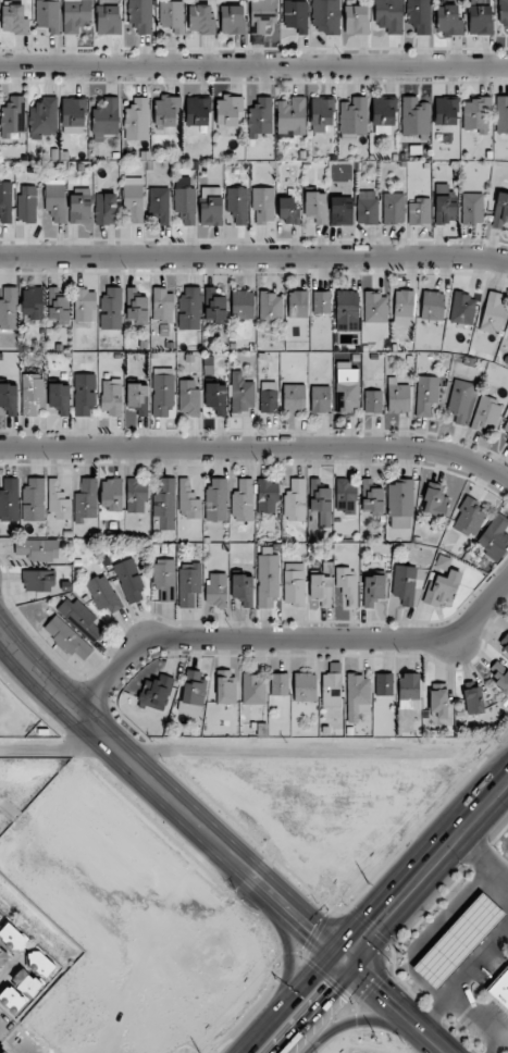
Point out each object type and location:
building: (503, 12)
building: (48, 15)
building: (76, 15)
building: (140, 15)
building: (172, 15)
building: (262, 15)
building: (296, 15)
building: (388, 15)
building: (419, 15)
building: (325, 16)
building: (108, 17)
building: (480, 17)
building: (200, 18)
building: (14, 20)
building: (232, 20)
building: (356, 20)
building: (448, 20)
road: (253, 64)
building: (228, 110)
building: (166, 111)
building: (197, 111)
building: (446, 112)
building: (321, 113)
building: (501, 114)
building: (74, 115)
building: (354, 115)
building: (383, 115)
building: (476, 115)
building: (12, 116)
building: (292, 116)
building: (414, 116)
building: (44, 117)
building: (260, 117)
building: (106, 119)
building: (137, 120)
building: (133, 198)
building: (54, 200)
building: (5, 202)
building: (444, 202)
building: (27, 203)
building: (237, 203)
building: (160, 205)
building: (185, 205)
building: (211, 206)
building: (263, 206)
building: (315, 206)
building: (80, 207)
building: (367, 207)
building: (106, 208)
building: (393, 208)
building: (472, 208)
building: (340, 210)
building: (500, 210)
building: (287, 211)
building: (419, 211)
road: (253, 258)
building: (321, 301)
building: (33, 302)
building: (59, 305)
building: (84, 305)
building: (243, 305)
building: (297, 305)
building: (347, 305)
building: (163, 306)
building: (215, 306)
building: (432, 306)
building: (271, 307)
building: (9, 308)
building: (111, 308)
building: (136, 308)
building: (189, 308)
building: (375, 308)
building: (404, 308)
building: (462, 309)
building: (493, 312)
building: (347, 387)
building: (162, 392)
building: (32, 393)
building: (84, 394)
building: (426, 394)
building: (241, 395)
building: (397, 396)
building: (59, 397)
building: (111, 397)
building: (215, 397)
building: (268, 397)
building: (137, 398)
building: (188, 398)
building: (294, 398)
building: (320, 399)
building: (8, 400)
building: (460, 400)
building: (373, 401)
building: (486, 414)
building: (506, 426)
building: (507, 443)
road: (257, 448)
building: (111, 494)
building: (136, 495)
building: (268, 495)
building: (346, 496)
building: (372, 496)
building: (216, 498)
building: (9, 499)
building: (34, 499)
building: (86, 500)
building: (188, 500)
building: (243, 500)
building: (295, 500)
building: (434, 500)
building: (320, 501)
building: (165, 504)
building: (400, 504)
building: (468, 518)
building: (494, 537)
building: (38, 548)
building: (164, 578)
building: (38, 580)
building: (129, 581)
building: (268, 581)
building: (189, 583)
building: (294, 583)
building: (347, 584)
building: (406, 584)
building: (443, 587)
building: (216, 590)
building: (243, 590)
building: (321, 590)
building: (373, 590)
building: (103, 594)
building: (79, 618)
building: (67, 637)
road: (288, 641)
building: (504, 642)
building: (499, 676)
building: (278, 684)
building: (384, 684)
building: (332, 685)
building: (225, 686)
building: (305, 686)
building: (253, 689)
building: (409, 691)
building: (193, 692)
building: (156, 693)
building: (357, 696)
building: (437, 699)
building: (473, 701)
road: (234, 750)
road: (169, 801)
road: (483, 858)
road: (424, 874)
power tower: (365, 883)
building: (0, 916)
road: (27, 922)
building: (12, 937)
building: (459, 941)
gas station: (459, 941)
building: (3, 956)
building: (39, 963)
traffic signals: (340, 965)
road: (462, 978)
road: (285, 986)
road: (331, 988)
building: (498, 988)
building: (18, 992)
road: (285, 1003)
road: (389, 1008)
road: (482, 1020)
road: (355, 1023)
road: (301, 1031)
road: (505, 1037)
road: (505, 1042)
building: (3, 1052)

